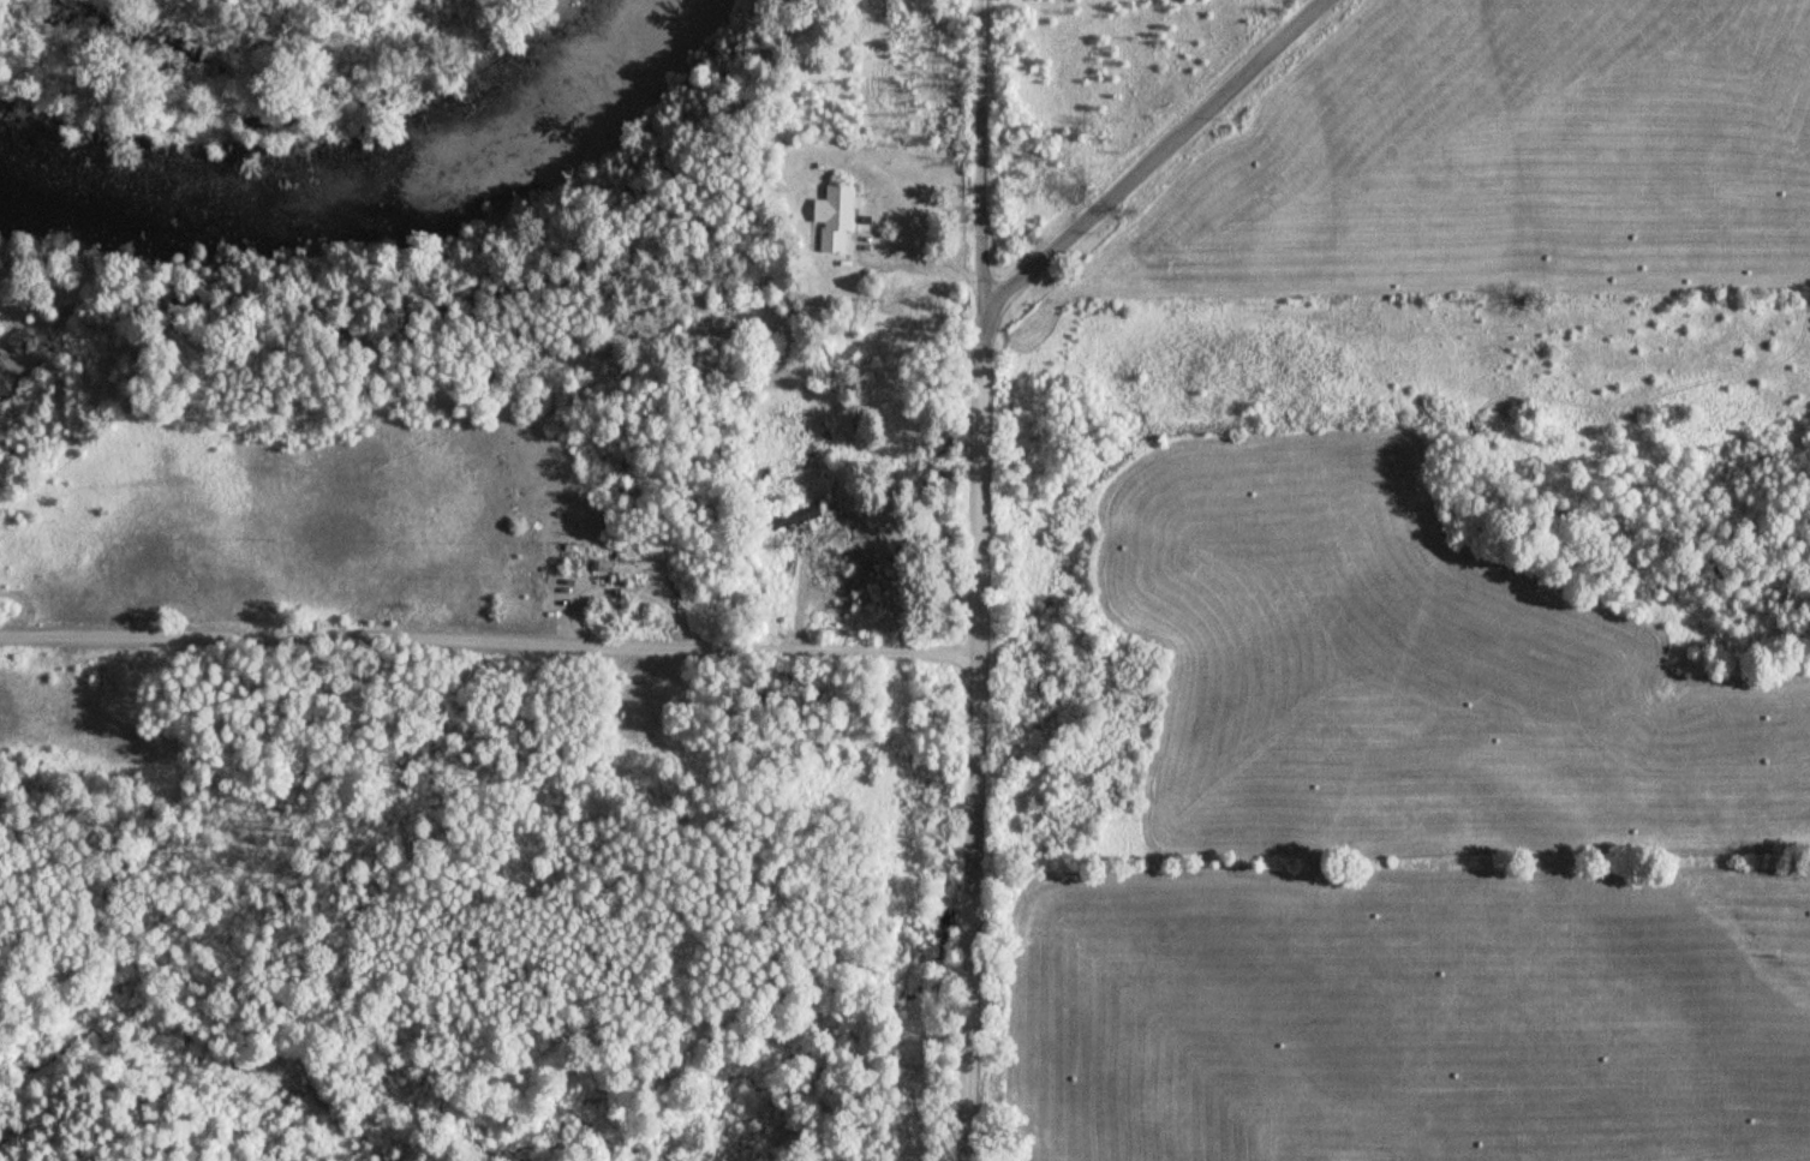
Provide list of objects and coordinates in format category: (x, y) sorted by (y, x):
road: (979, 158)
building: (838, 217)
road: (1032, 273)
building: (19, 337)
building: (7, 382)
building: (860, 431)
building: (811, 472)
building: (631, 565)
building: (775, 574)
road: (486, 644)
road: (976, 906)

